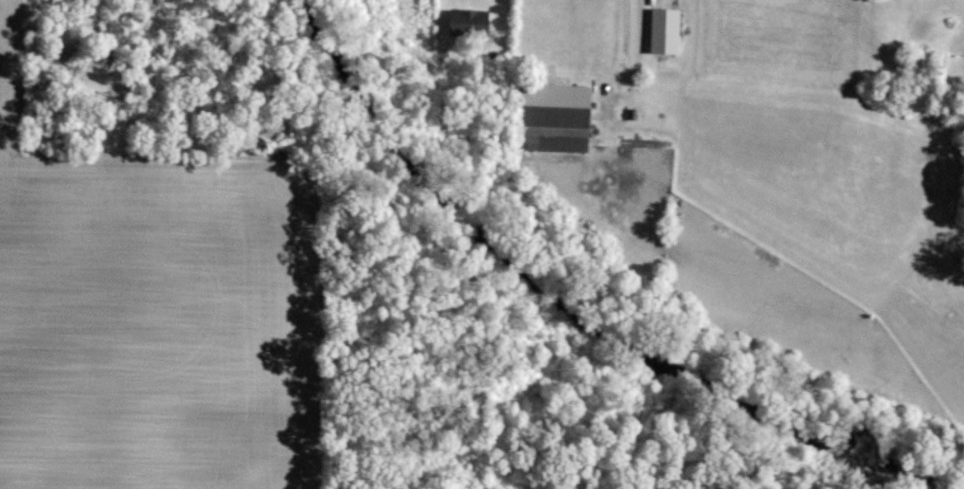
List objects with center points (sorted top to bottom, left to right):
building: (470, 22)
building: (666, 30)
road: (635, 39)
building: (555, 118)

